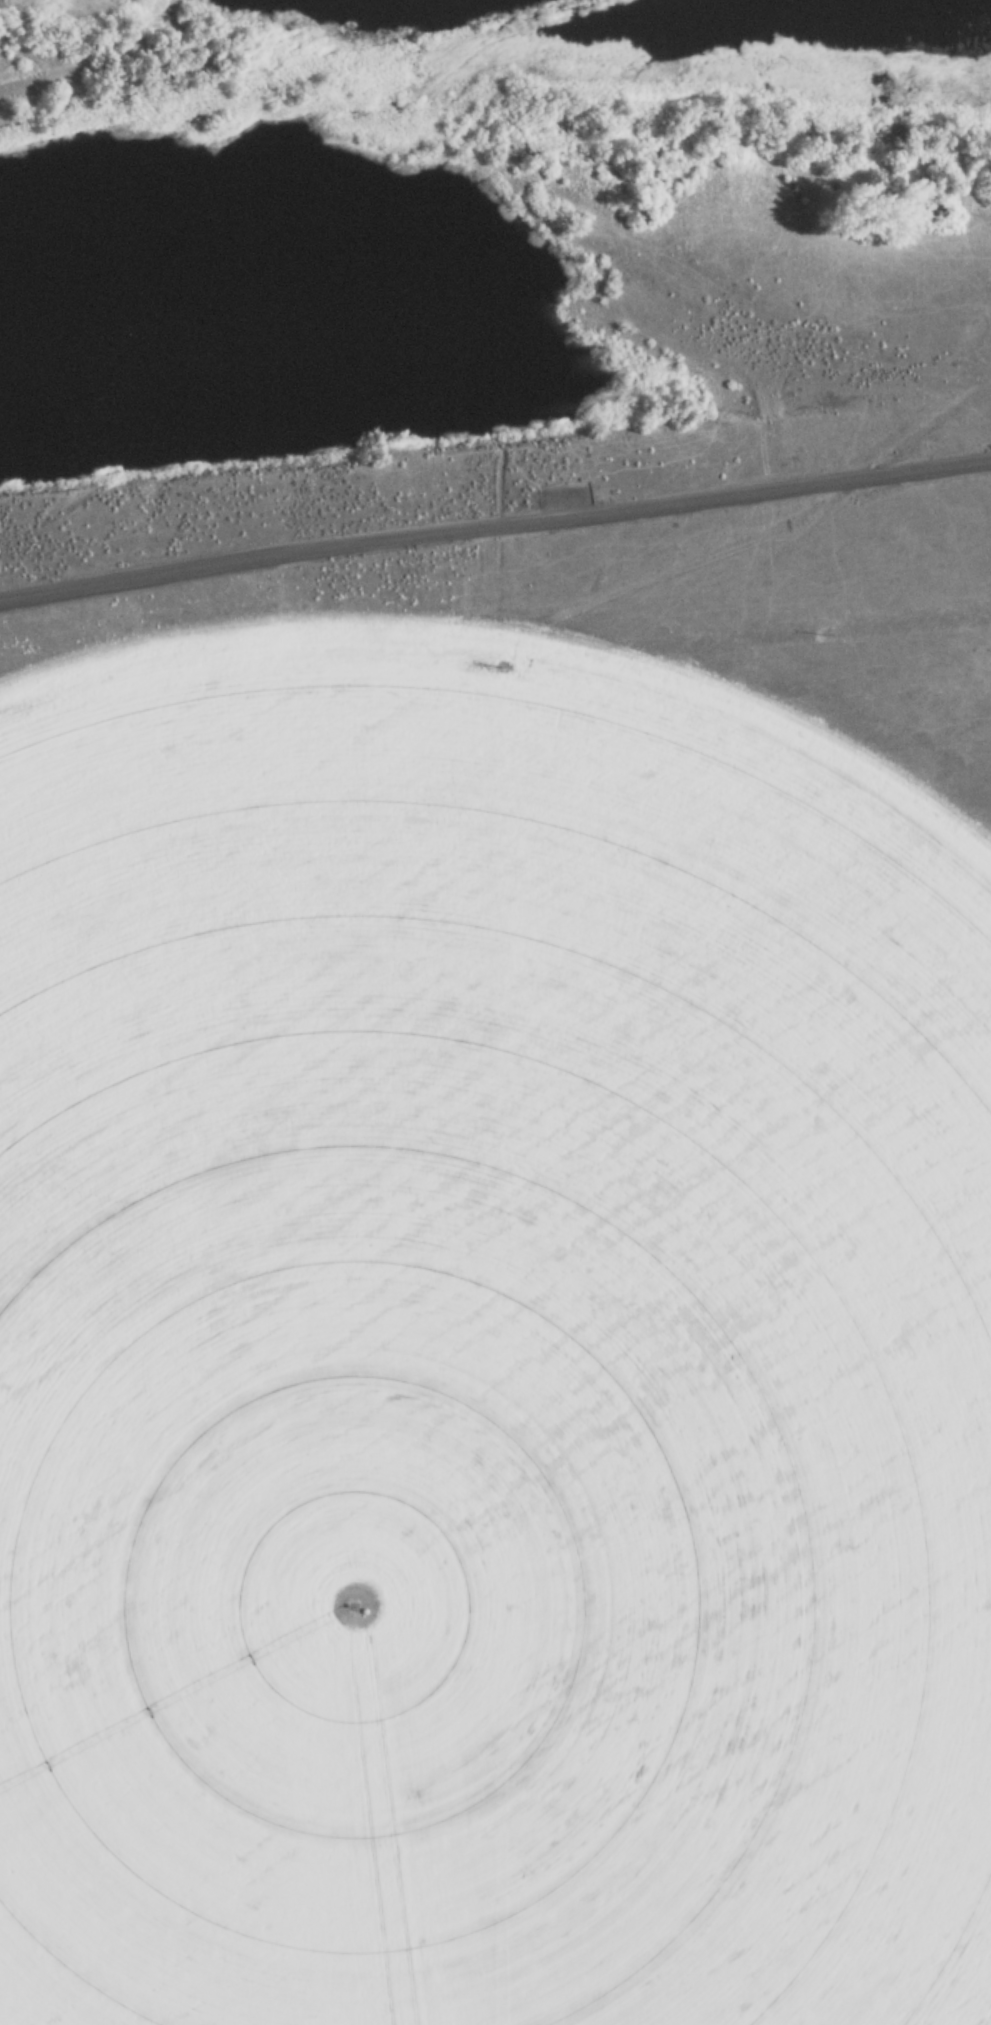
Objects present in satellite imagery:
railway: (312, 77)
road: (560, 488)
parking lot: (567, 498)
road: (494, 519)

